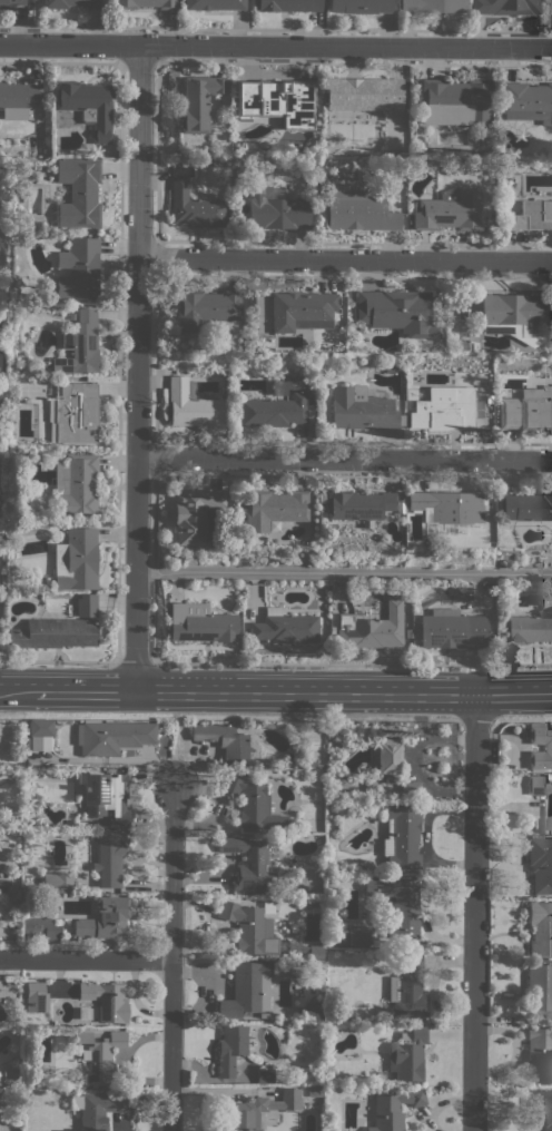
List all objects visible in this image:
building: (12, 1)
building: (72, 3)
building: (144, 3)
building: (214, 4)
building: (286, 4)
building: (357, 6)
building: (431, 6)
building: (502, 7)
building: (549, 7)
road: (275, 45)
building: (361, 94)
building: (18, 99)
building: (198, 101)
building: (276, 101)
building: (453, 101)
building: (526, 101)
building: (87, 106)
building: (247, 145)
building: (418, 145)
building: (403, 149)
building: (176, 161)
building: (78, 191)
building: (194, 206)
building: (275, 208)
building: (357, 210)
building: (448, 210)
building: (532, 214)
road: (355, 242)
road: (345, 258)
building: (78, 268)
road: (369, 275)
building: (545, 295)
building: (205, 307)
building: (300, 311)
building: (396, 311)
building: (71, 316)
building: (512, 316)
building: (80, 345)
building: (388, 367)
road: (136, 368)
building: (279, 387)
building: (193, 404)
building: (444, 407)
building: (362, 409)
building: (526, 410)
building: (276, 411)
building: (73, 413)
road: (344, 459)
building: (75, 486)
building: (356, 504)
building: (446, 507)
building: (526, 507)
building: (272, 509)
building: (194, 513)
building: (213, 544)
building: (76, 559)
road: (344, 571)
building: (464, 592)
building: (87, 604)
building: (200, 623)
building: (285, 627)
building: (371, 628)
building: (529, 628)
building: (453, 629)
building: (53, 633)
road: (59, 660)
road: (135, 660)
road: (352, 662)
road: (16, 692)
road: (305, 692)
road: (513, 692)
road: (82, 694)
road: (227, 717)
road: (475, 718)
road: (524, 718)
building: (40, 728)
building: (111, 736)
building: (224, 740)
building: (27, 742)
building: (549, 748)
road: (172, 749)
building: (388, 759)
building: (369, 785)
building: (407, 790)
building: (106, 796)
building: (254, 804)
building: (549, 806)
building: (81, 825)
building: (91, 826)
building: (402, 836)
building: (108, 859)
building: (248, 864)
building: (541, 864)
building: (58, 879)
building: (3, 884)
building: (28, 898)
building: (397, 904)
road: (473, 912)
building: (103, 917)
building: (249, 927)
building: (541, 927)
building: (40, 928)
building: (358, 934)
building: (338, 937)
building: (304, 950)
road: (172, 956)
road: (86, 958)
building: (408, 989)
building: (539, 989)
building: (247, 990)
building: (36, 997)
building: (106, 1000)
building: (264, 1014)
building: (230, 1048)
building: (540, 1052)
building: (99, 1054)
building: (408, 1054)
building: (265, 1074)
building: (315, 1093)
building: (393, 1108)
building: (97, 1109)
building: (258, 1110)
building: (539, 1110)

